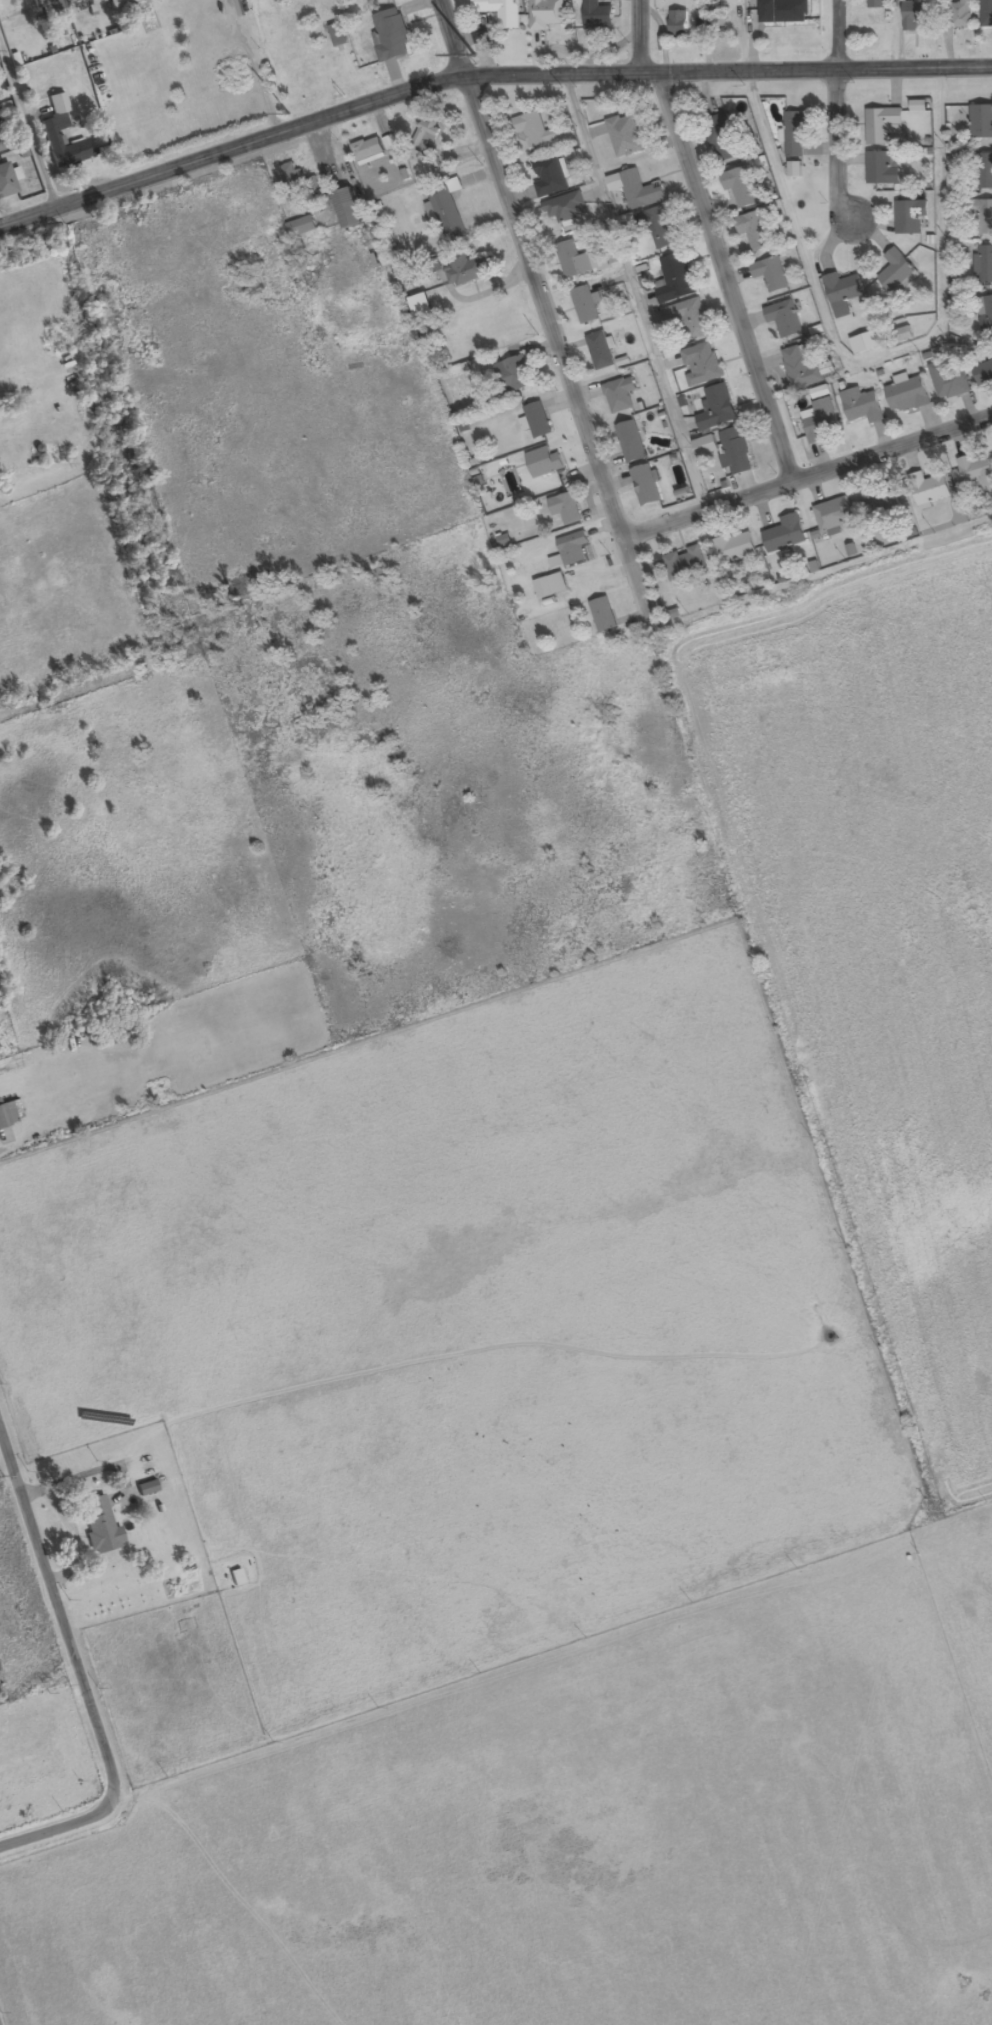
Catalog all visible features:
building: (67, 0)
building: (116, 4)
building: (876, 4)
building: (15, 7)
building: (46, 7)
building: (500, 11)
building: (785, 11)
building: (986, 13)
building: (547, 14)
building: (915, 14)
building: (596, 15)
building: (959, 15)
building: (678, 24)
building: (338, 35)
road: (834, 35)
building: (391, 36)
road: (643, 39)
power tower: (475, 55)
road: (484, 79)
power tower: (291, 111)
building: (981, 121)
building: (882, 125)
building: (535, 129)
building: (51, 131)
building: (796, 132)
building: (426, 134)
building: (625, 135)
building: (723, 140)
road: (838, 147)
building: (1, 148)
building: (367, 148)
building: (794, 168)
building: (881, 168)
building: (983, 171)
building: (550, 177)
building: (294, 180)
building: (6, 183)
building: (741, 186)
building: (640, 191)
building: (346, 207)
building: (565, 207)
building: (445, 208)
building: (983, 214)
building: (909, 217)
building: (301, 226)
building: (657, 226)
building: (753, 230)
building: (570, 259)
building: (984, 264)
building: (465, 268)
building: (896, 271)
building: (770, 273)
road: (726, 274)
building: (674, 278)
building: (842, 287)
road: (634, 288)
road: (539, 305)
building: (585, 305)
building: (986, 314)
building: (783, 317)
building: (690, 318)
building: (904, 334)
building: (600, 350)
road: (873, 359)
building: (701, 364)
building: (801, 366)
building: (983, 372)
building: (514, 374)
building: (948, 381)
building: (907, 394)
building: (619, 395)
building: (862, 405)
building: (717, 408)
building: (820, 415)
building: (537, 420)
building: (631, 441)
building: (705, 446)
building: (735, 450)
building: (544, 462)
road: (814, 466)
building: (976, 473)
building: (645, 485)
building: (929, 488)
building: (881, 500)
building: (565, 508)
building: (834, 514)
road: (624, 523)
building: (785, 534)
building: (738, 547)
building: (573, 548)
building: (685, 563)
building: (543, 587)
building: (603, 614)
building: (8, 1114)
building: (145, 1488)
building: (100, 1528)
road: (59, 1607)
road: (454, 1694)
road: (62, 1828)
park: (1, 2021)

